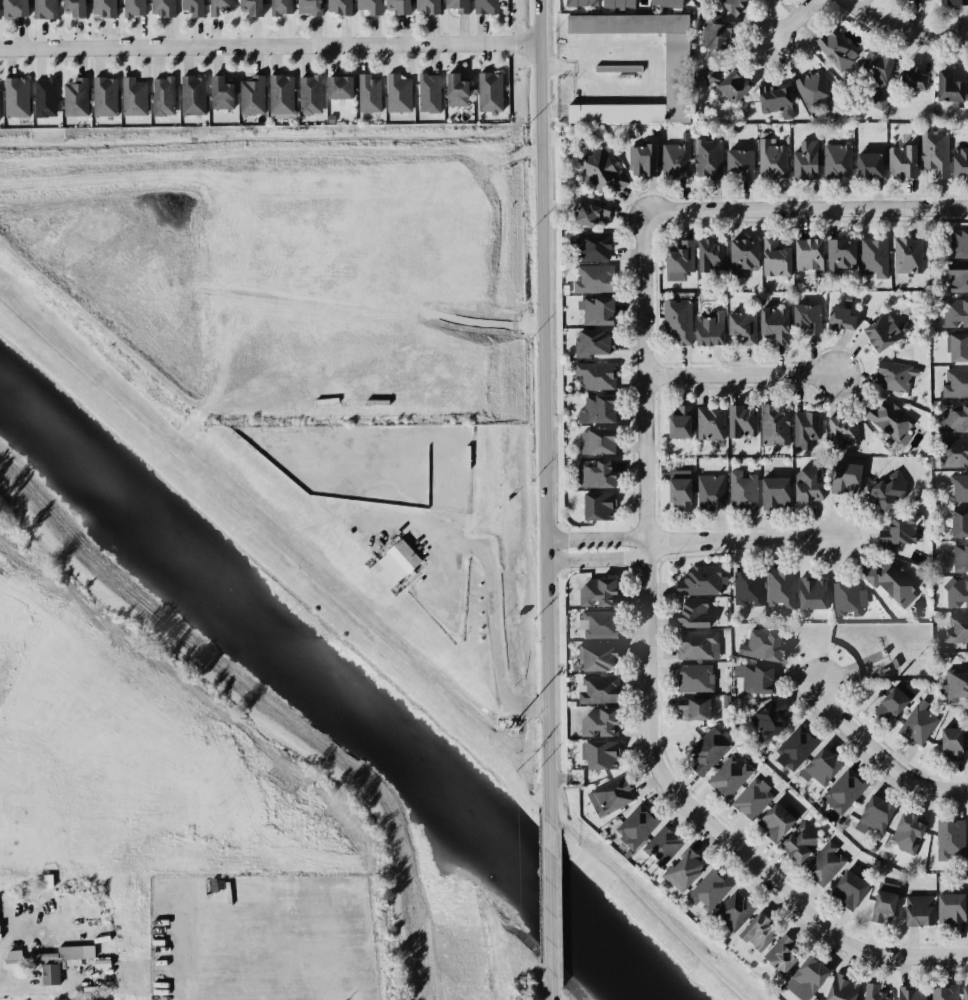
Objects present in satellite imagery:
building: (911, 0)
building: (575, 2)
building: (617, 2)
building: (952, 2)
building: (659, 3)
building: (336, 5)
building: (39, 6)
building: (68, 6)
building: (188, 6)
building: (218, 6)
building: (278, 6)
building: (308, 6)
building: (366, 6)
building: (394, 6)
building: (424, 6)
building: (453, 6)
building: (484, 6)
building: (728, 6)
building: (11, 7)
building: (102, 7)
building: (133, 7)
building: (160, 7)
building: (246, 7)
road: (795, 22)
road: (906, 26)
building: (709, 31)
building: (832, 43)
road: (272, 45)
road: (650, 56)
building: (870, 65)
building: (673, 67)
building: (616, 68)
building: (910, 75)
building: (946, 82)
building: (721, 84)
building: (336, 86)
building: (810, 87)
building: (453, 90)
building: (488, 91)
building: (426, 93)
building: (366, 94)
building: (398, 94)
building: (74, 95)
building: (103, 95)
building: (191, 95)
building: (219, 95)
building: (280, 95)
building: (308, 95)
building: (131, 96)
building: (160, 96)
building: (250, 96)
building: (17, 99)
building: (45, 99)
building: (770, 100)
building: (769, 155)
building: (931, 155)
building: (959, 158)
building: (639, 159)
building: (707, 159)
building: (674, 160)
building: (834, 160)
building: (803, 161)
building: (867, 162)
building: (739, 163)
building: (902, 163)
building: (599, 171)
road: (766, 208)
building: (583, 210)
building: (958, 243)
building: (588, 245)
building: (836, 250)
building: (708, 252)
building: (805, 252)
building: (771, 255)
building: (740, 257)
building: (872, 257)
building: (904, 257)
building: (675, 259)
building: (589, 278)
building: (951, 278)
building: (596, 310)
building: (837, 312)
building: (953, 312)
building: (805, 316)
building: (674, 321)
building: (771, 323)
building: (737, 325)
building: (705, 330)
building: (880, 330)
building: (593, 342)
building: (956, 348)
building: (592, 373)
road: (743, 374)
building: (893, 377)
building: (953, 382)
building: (594, 407)
road: (544, 412)
building: (952, 416)
building: (705, 419)
building: (890, 420)
building: (740, 421)
building: (673, 423)
building: (775, 426)
building: (840, 427)
building: (804, 430)
building: (596, 438)
building: (954, 453)
building: (594, 472)
building: (842, 477)
building: (800, 483)
building: (957, 486)
building: (676, 487)
building: (886, 487)
building: (709, 489)
building: (742, 489)
building: (772, 491)
building: (599, 506)
building: (959, 523)
building: (903, 528)
road: (746, 540)
road: (602, 543)
building: (960, 557)
building: (393, 564)
building: (890, 578)
building: (697, 580)
building: (747, 588)
building: (780, 589)
building: (589, 590)
building: (813, 591)
building: (957, 592)
building: (848, 599)
building: (692, 611)
building: (600, 625)
building: (957, 628)
road: (495, 636)
building: (700, 644)
building: (765, 645)
building: (599, 655)
building: (695, 677)
building: (758, 680)
building: (957, 685)
river: (339, 689)
building: (599, 689)
building: (891, 705)
building: (694, 707)
road: (260, 714)
road: (654, 716)
building: (768, 717)
building: (600, 721)
building: (918, 722)
building: (967, 726)
building: (952, 742)
building: (796, 747)
building: (706, 751)
building: (601, 755)
road: (885, 755)
building: (820, 768)
building: (732, 775)
building: (846, 789)
building: (609, 795)
building: (752, 797)
building: (875, 818)
building: (775, 821)
building: (635, 825)
building: (908, 833)
building: (801, 840)
building: (950, 840)
building: (662, 842)
building: (825, 863)
building: (685, 868)
building: (848, 888)
building: (707, 891)
road: (554, 898)
building: (883, 905)
building: (949, 907)
building: (918, 908)
building: (734, 910)
building: (755, 930)
building: (780, 951)
building: (59, 960)
building: (809, 973)
road: (555, 986)
building: (843, 987)
building: (878, 990)
building: (965, 991)
building: (912, 992)
building: (945, 992)

